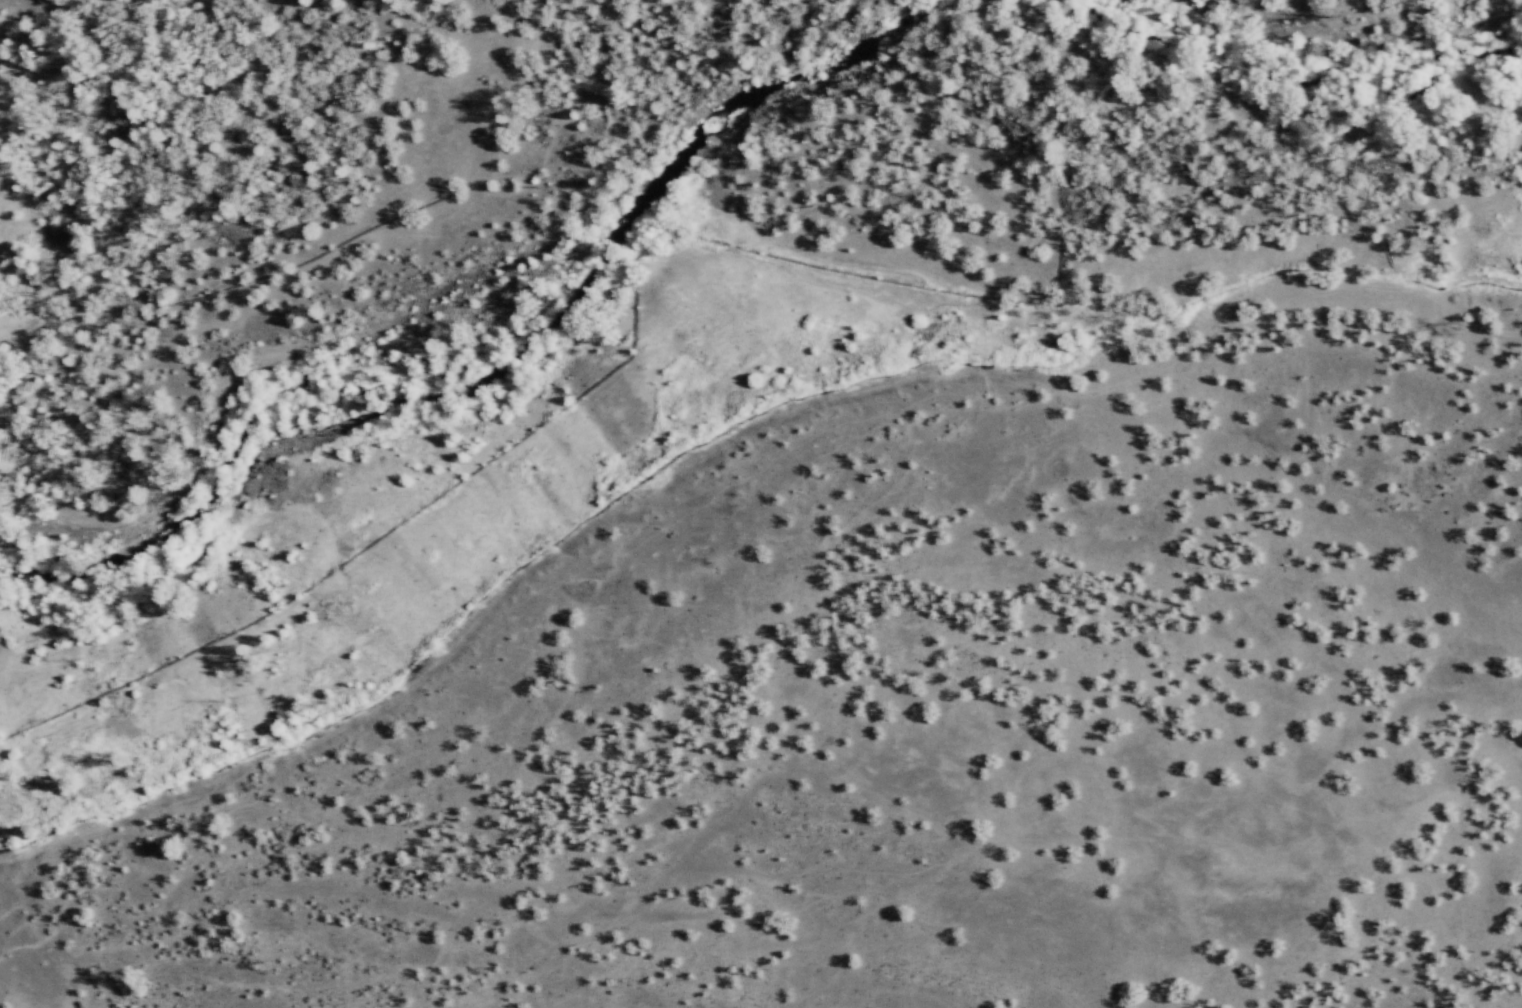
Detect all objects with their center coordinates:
river: (1285, 76)
river: (490, 367)

